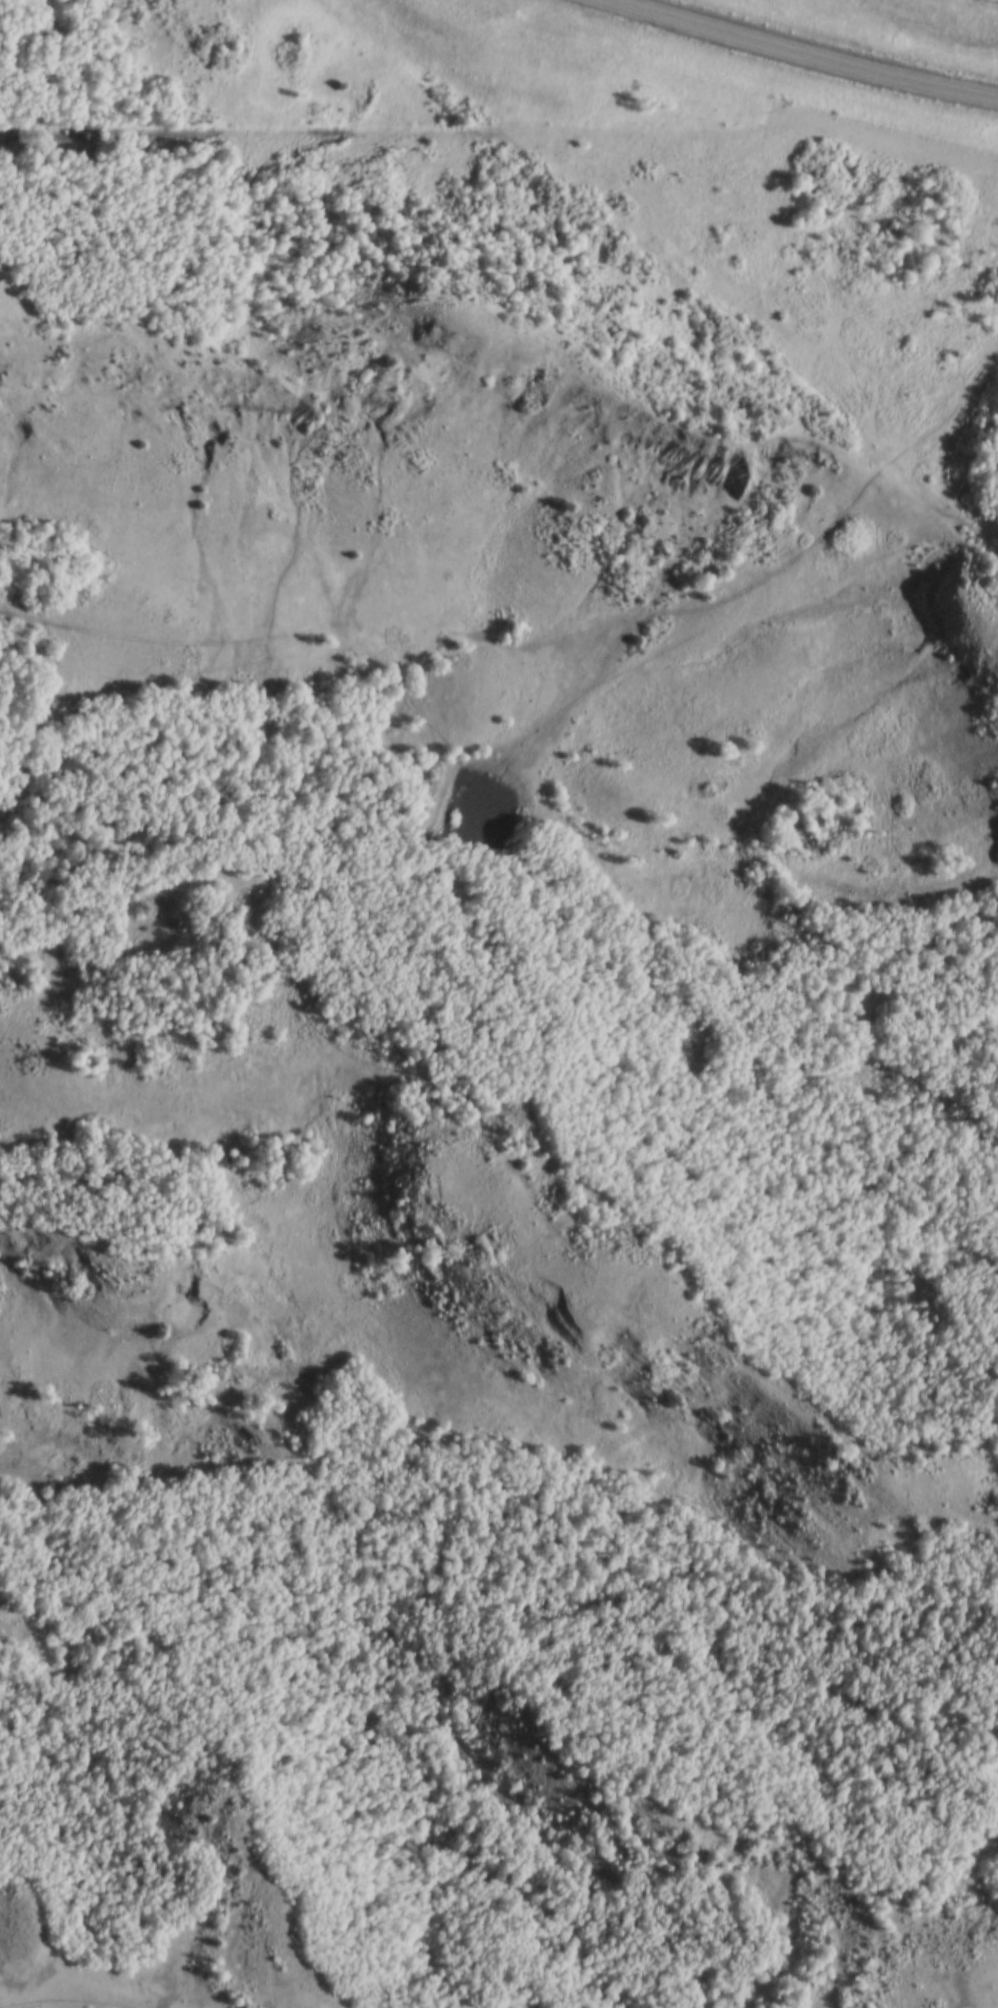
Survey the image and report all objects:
road: (732, 35)
road: (927, 88)

